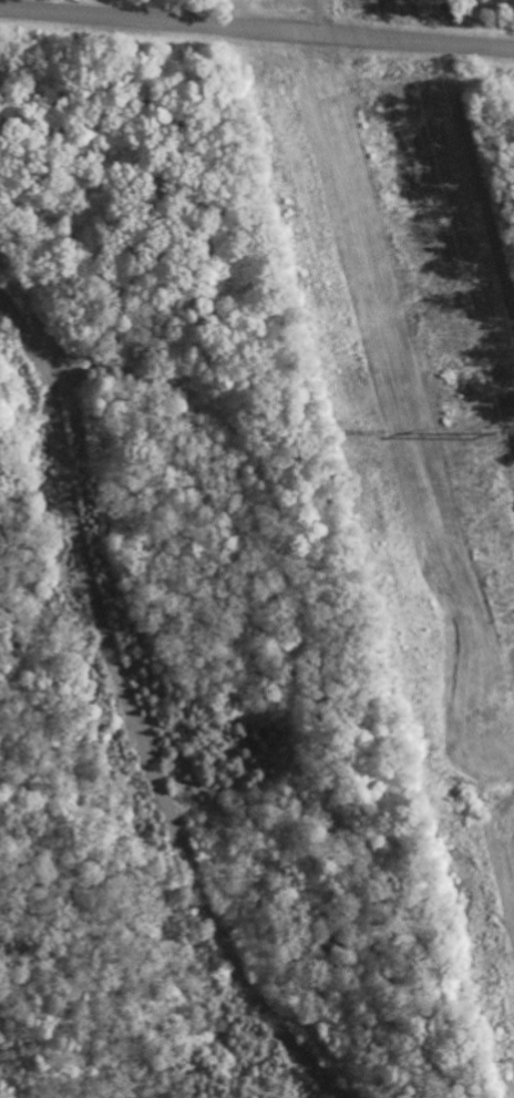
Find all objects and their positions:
road: (257, 28)
power tower: (373, 429)
power tower: (476, 434)

